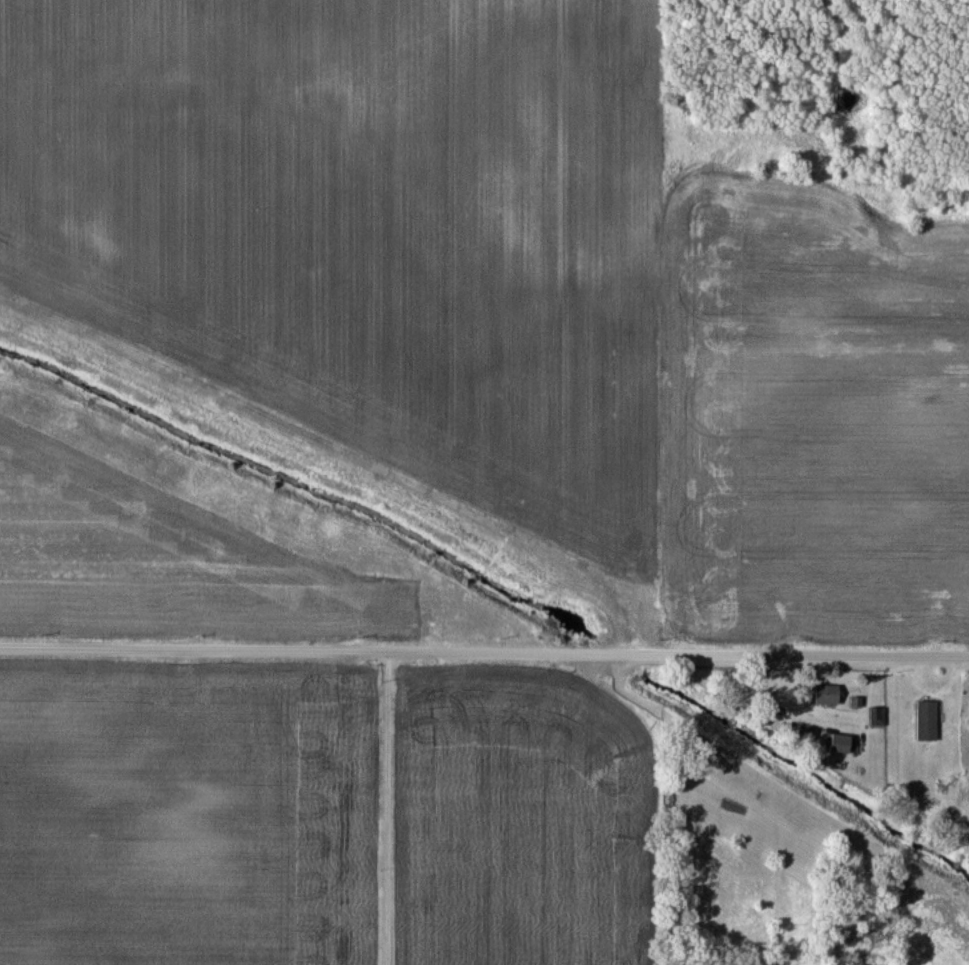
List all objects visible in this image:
building: (961, 616)
road: (484, 650)
building: (825, 695)
building: (877, 717)
building: (926, 721)
building: (838, 744)
road: (385, 807)

